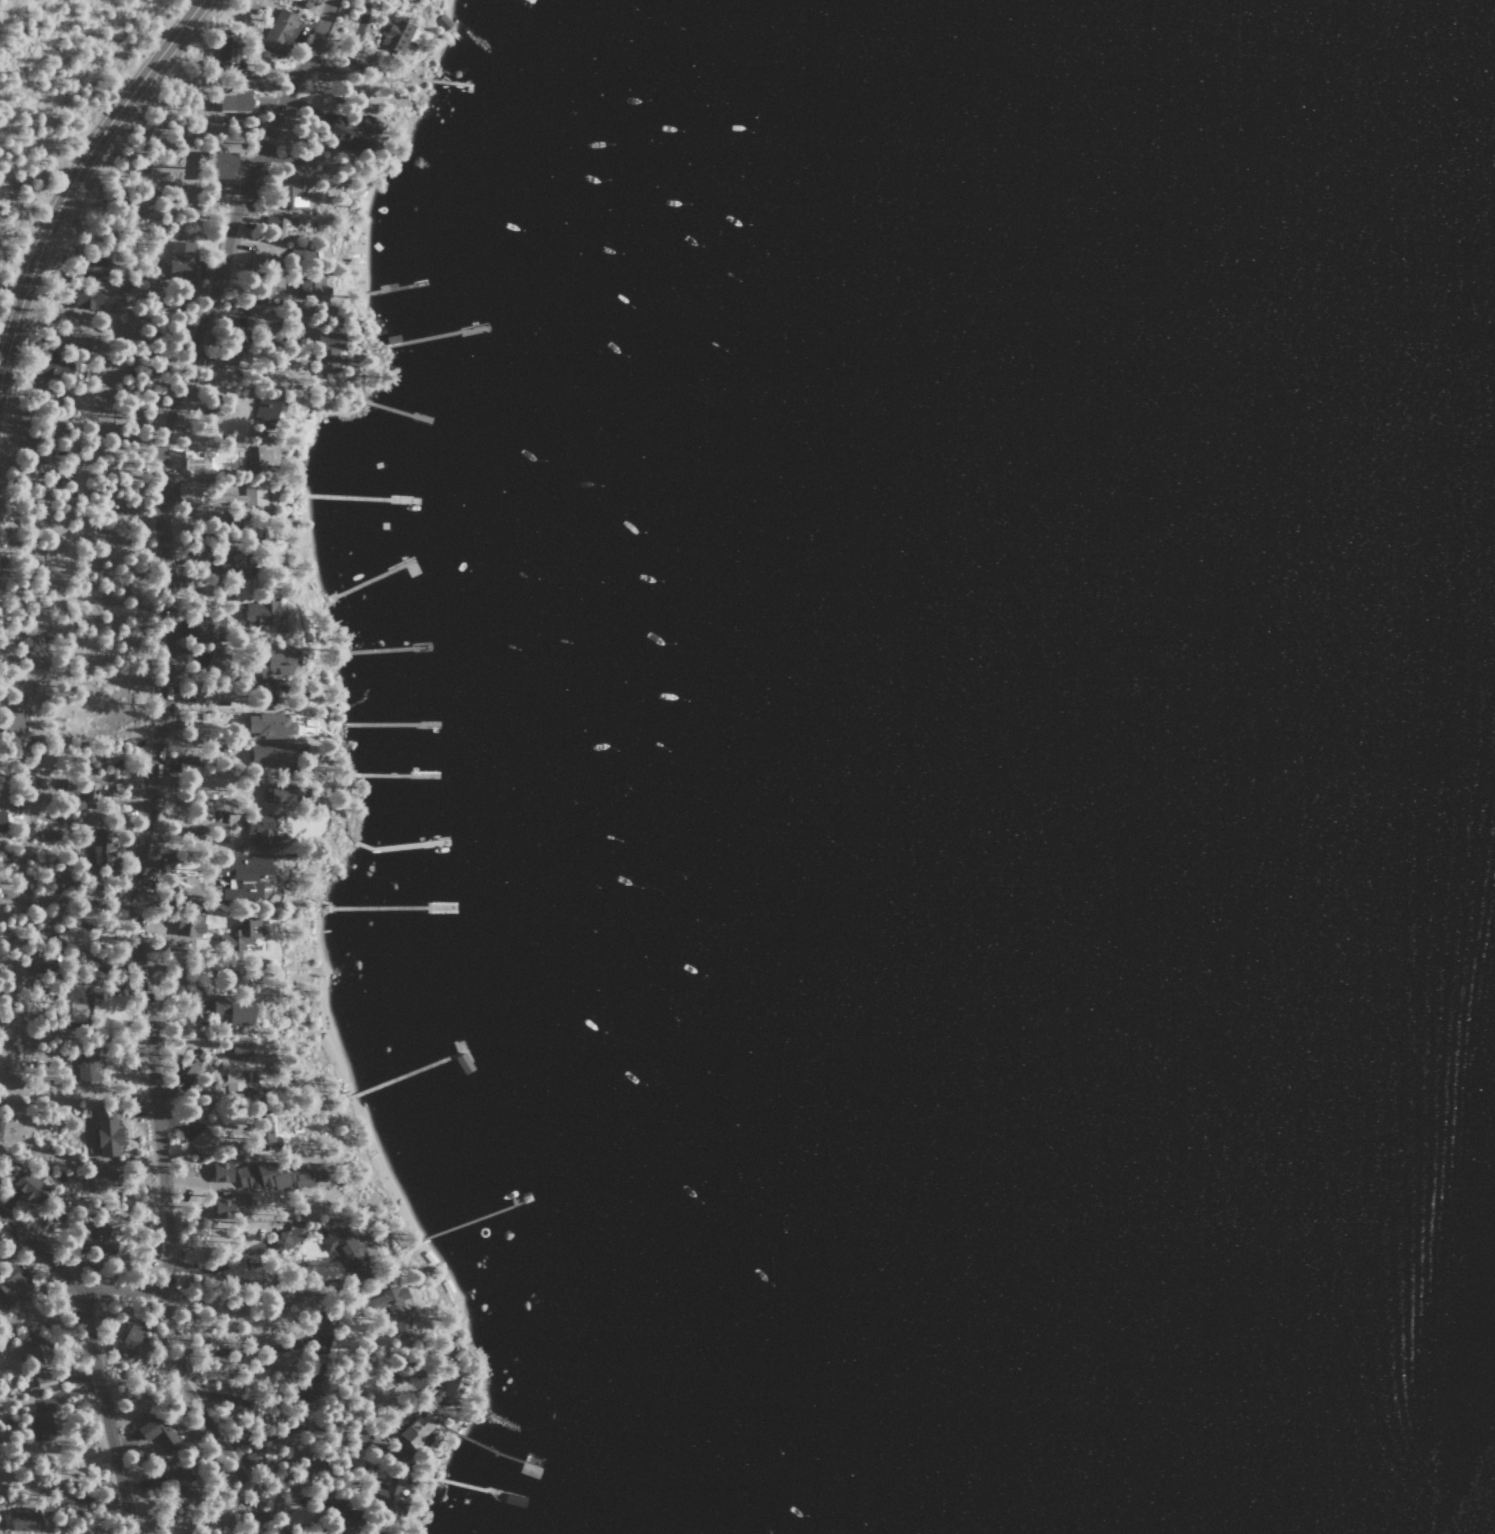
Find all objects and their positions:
building: (303, 3)
building: (441, 22)
building: (277, 32)
building: (394, 36)
building: (225, 51)
pier: (446, 82)
building: (232, 101)
building: (350, 131)
building: (212, 164)
road: (73, 177)
building: (287, 195)
building: (277, 226)
building: (179, 260)
building: (90, 267)
building: (307, 287)
pier: (390, 288)
building: (82, 298)
building: (259, 302)
pier: (415, 337)
building: (324, 356)
building: (220, 357)
pier: (377, 407)
building: (265, 408)
road: (161, 435)
building: (255, 459)
building: (187, 493)
building: (257, 498)
pier: (358, 498)
building: (230, 562)
road: (67, 569)
pier: (370, 576)
building: (236, 590)
building: (258, 614)
building: (34, 623)
building: (204, 629)
pier: (383, 650)
building: (212, 661)
building: (271, 662)
building: (264, 693)
pier: (388, 722)
building: (9, 725)
building: (266, 725)
building: (266, 756)
building: (184, 765)
pier: (393, 775)
building: (93, 790)
building: (281, 795)
building: (258, 830)
building: (49, 835)
pier: (384, 848)
building: (100, 850)
building: (256, 876)
pier: (387, 906)
building: (187, 925)
building: (237, 937)
building: (70, 940)
building: (71, 1002)
building: (235, 1009)
pier: (462, 1052)
building: (84, 1063)
building: (239, 1067)
building: (183, 1068)
pier: (405, 1072)
road: (153, 1096)
building: (262, 1131)
building: (104, 1132)
building: (199, 1142)
building: (219, 1171)
building: (99, 1175)
building: (24, 1186)
building: (230, 1206)
pier: (475, 1215)
building: (283, 1238)
building: (344, 1250)
building: (10, 1284)
road: (116, 1292)
building: (3, 1302)
building: (394, 1309)
building: (127, 1339)
building: (29, 1354)
road: (92, 1360)
building: (43, 1382)
building: (450, 1390)
road: (201, 1415)
building: (43, 1425)
building: (165, 1440)
pier: (495, 1451)
building: (252, 1457)
building: (354, 1457)
building: (527, 1471)
building: (185, 1482)
pier: (478, 1489)
building: (387, 1495)
building: (510, 1499)
building: (337, 1513)
building: (21, 1519)
building: (364, 1533)

